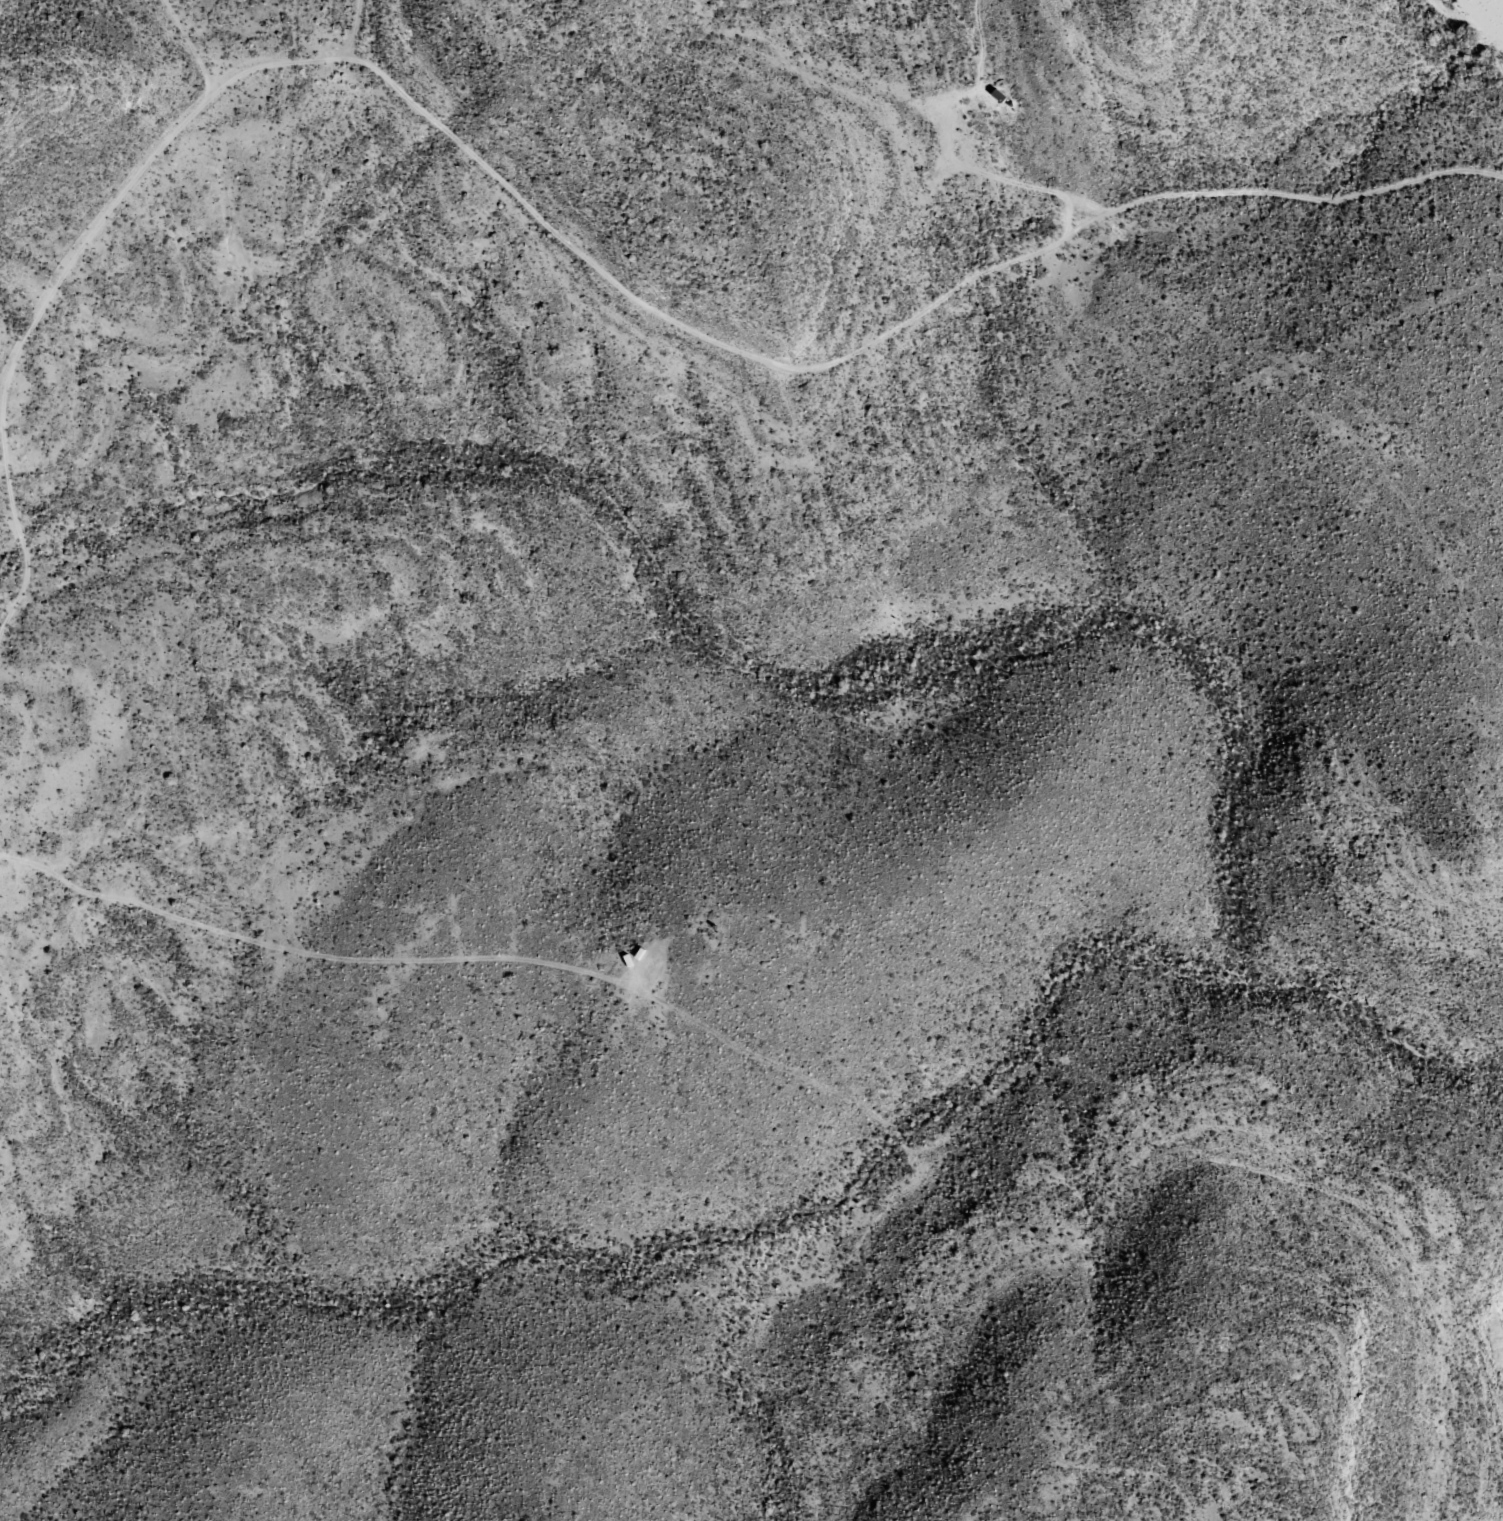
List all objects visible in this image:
road: (171, 42)
road: (478, 124)
road: (15, 651)

